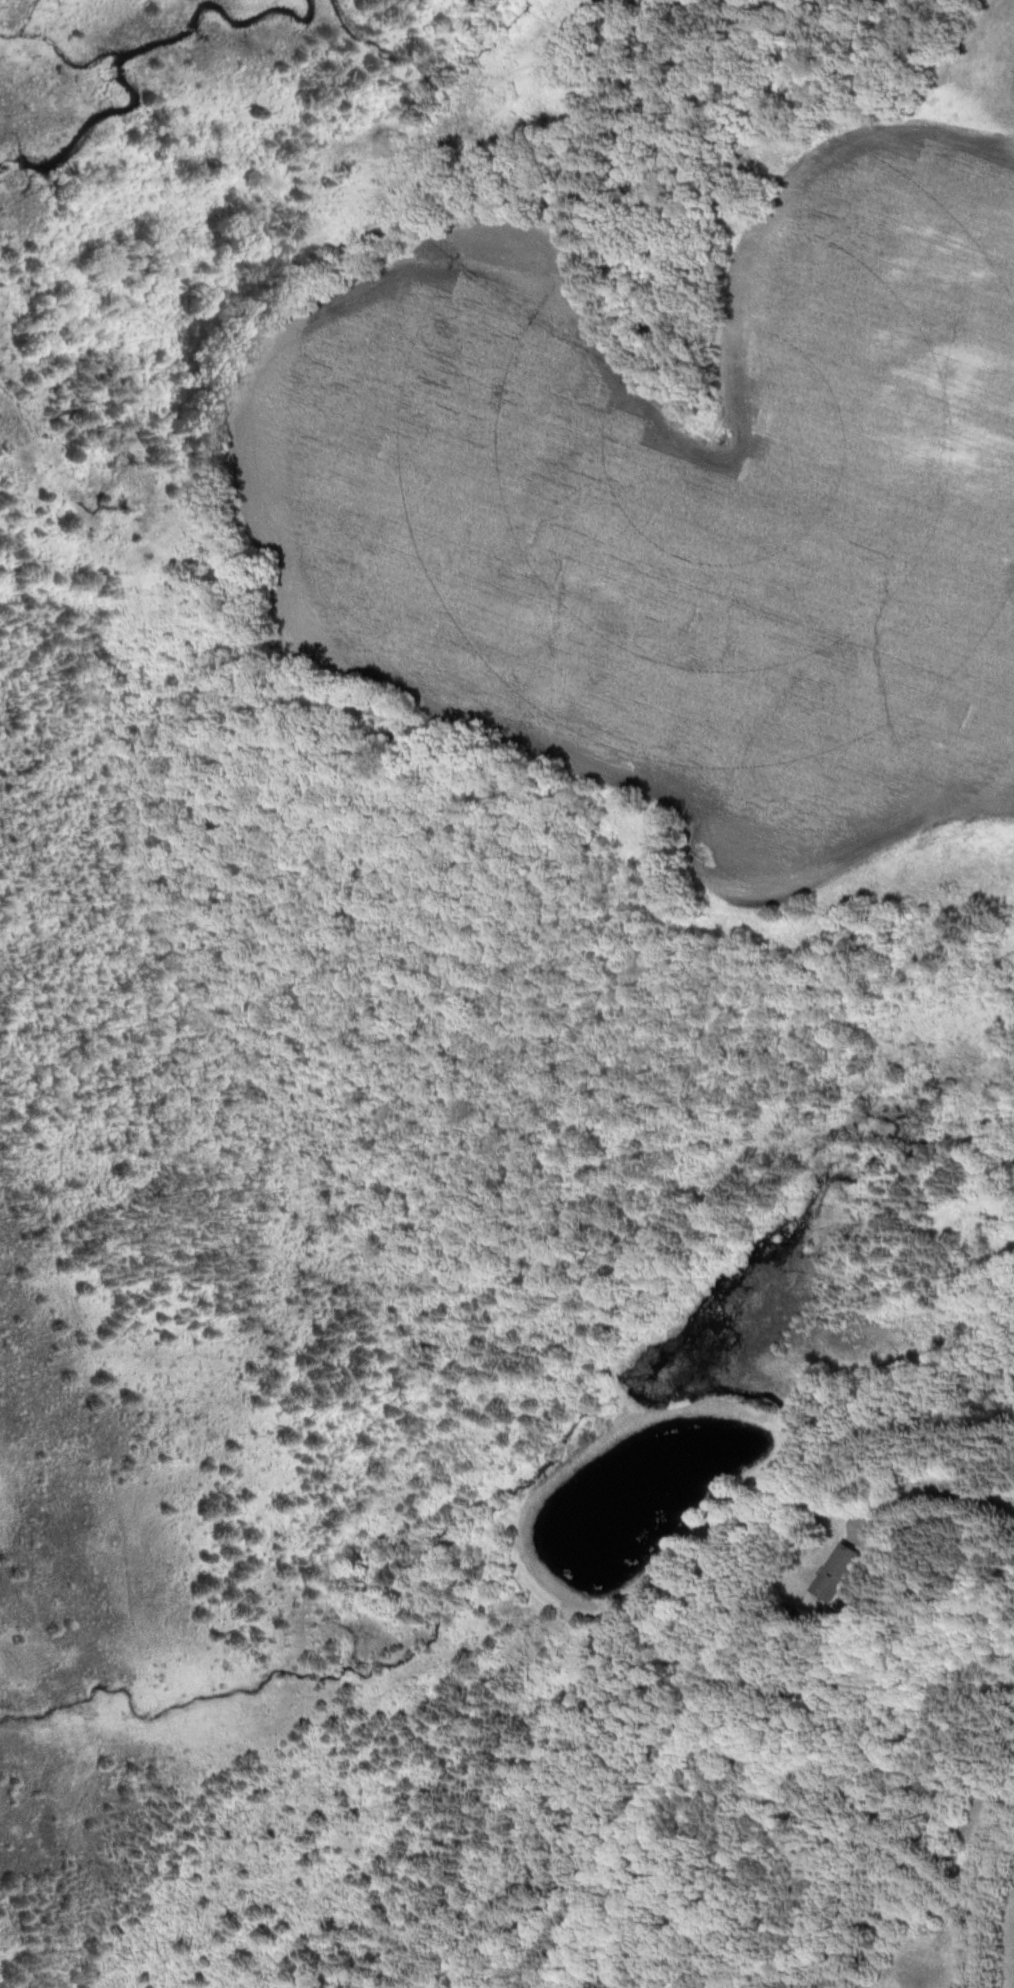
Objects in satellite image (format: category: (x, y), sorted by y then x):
building: (958, 1483)
road: (937, 1504)
building: (838, 1573)

